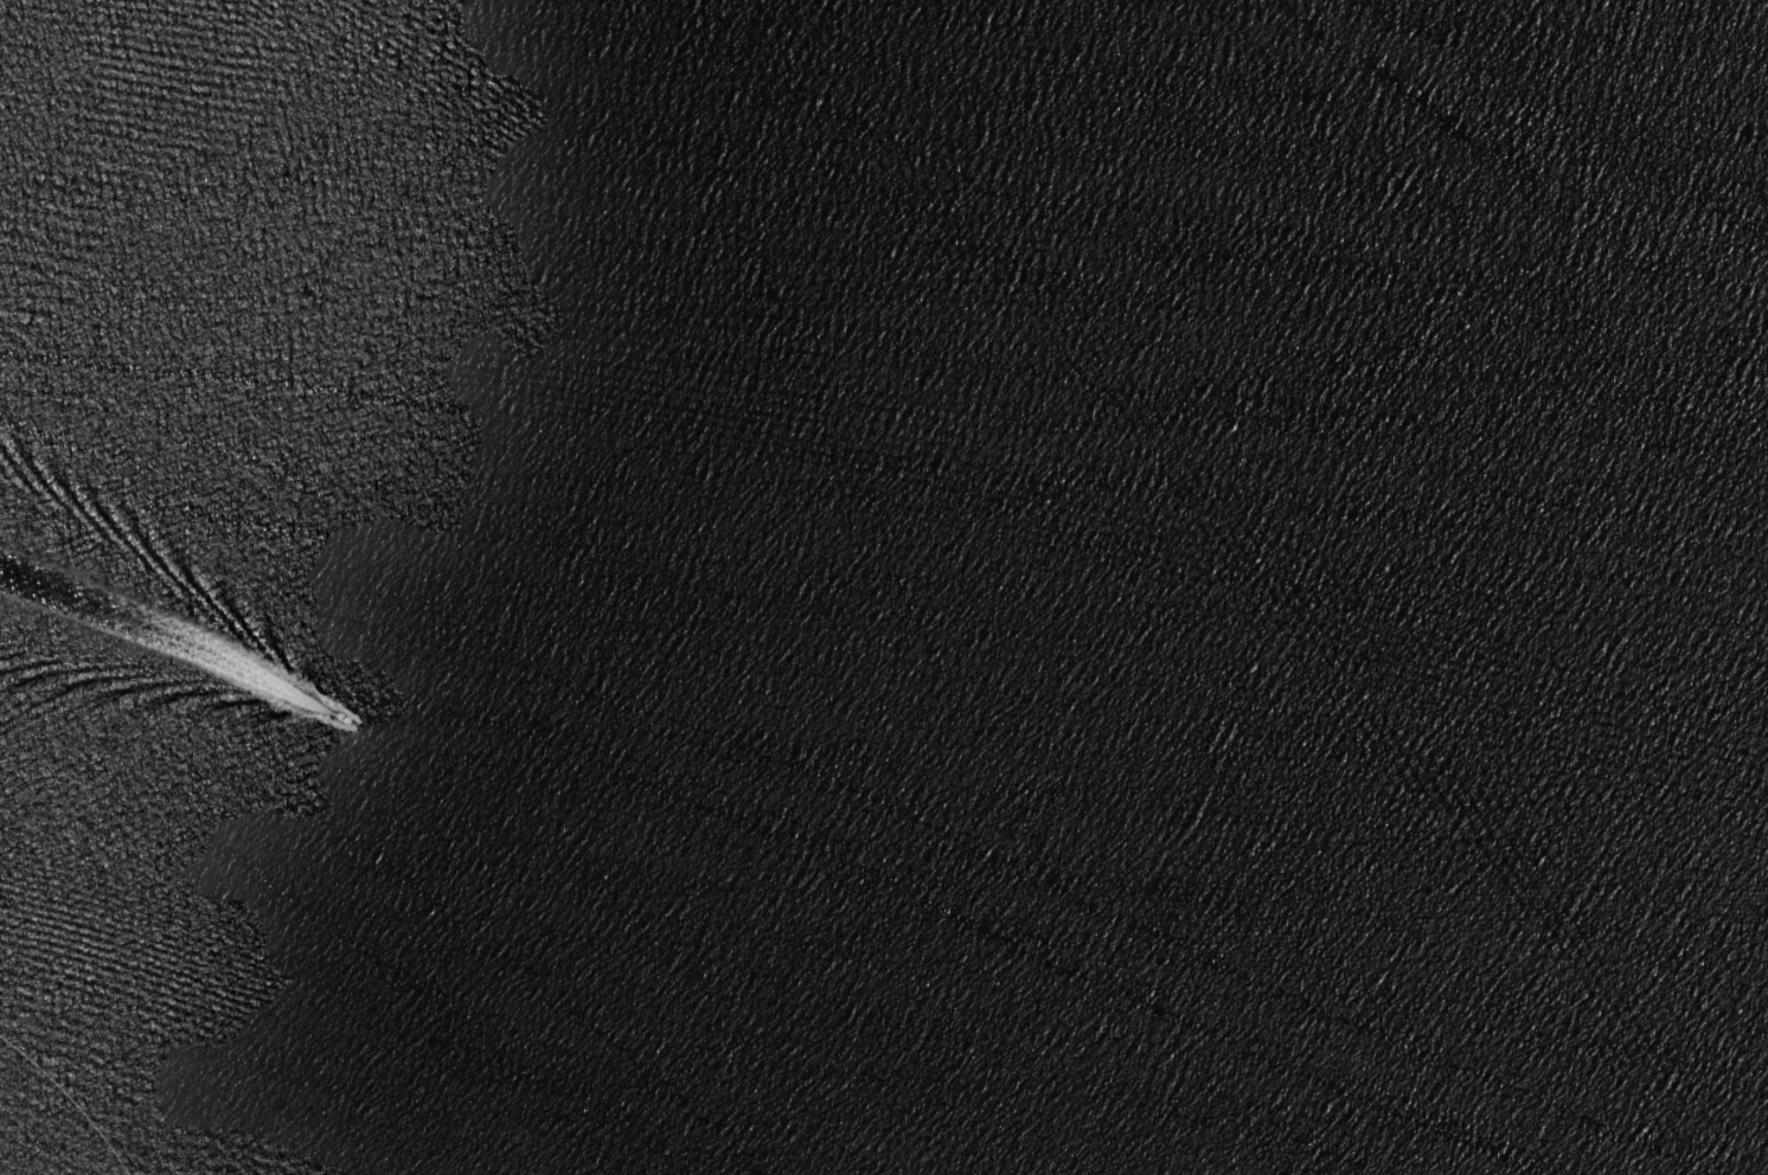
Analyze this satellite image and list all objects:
airport: (24, 1156)

